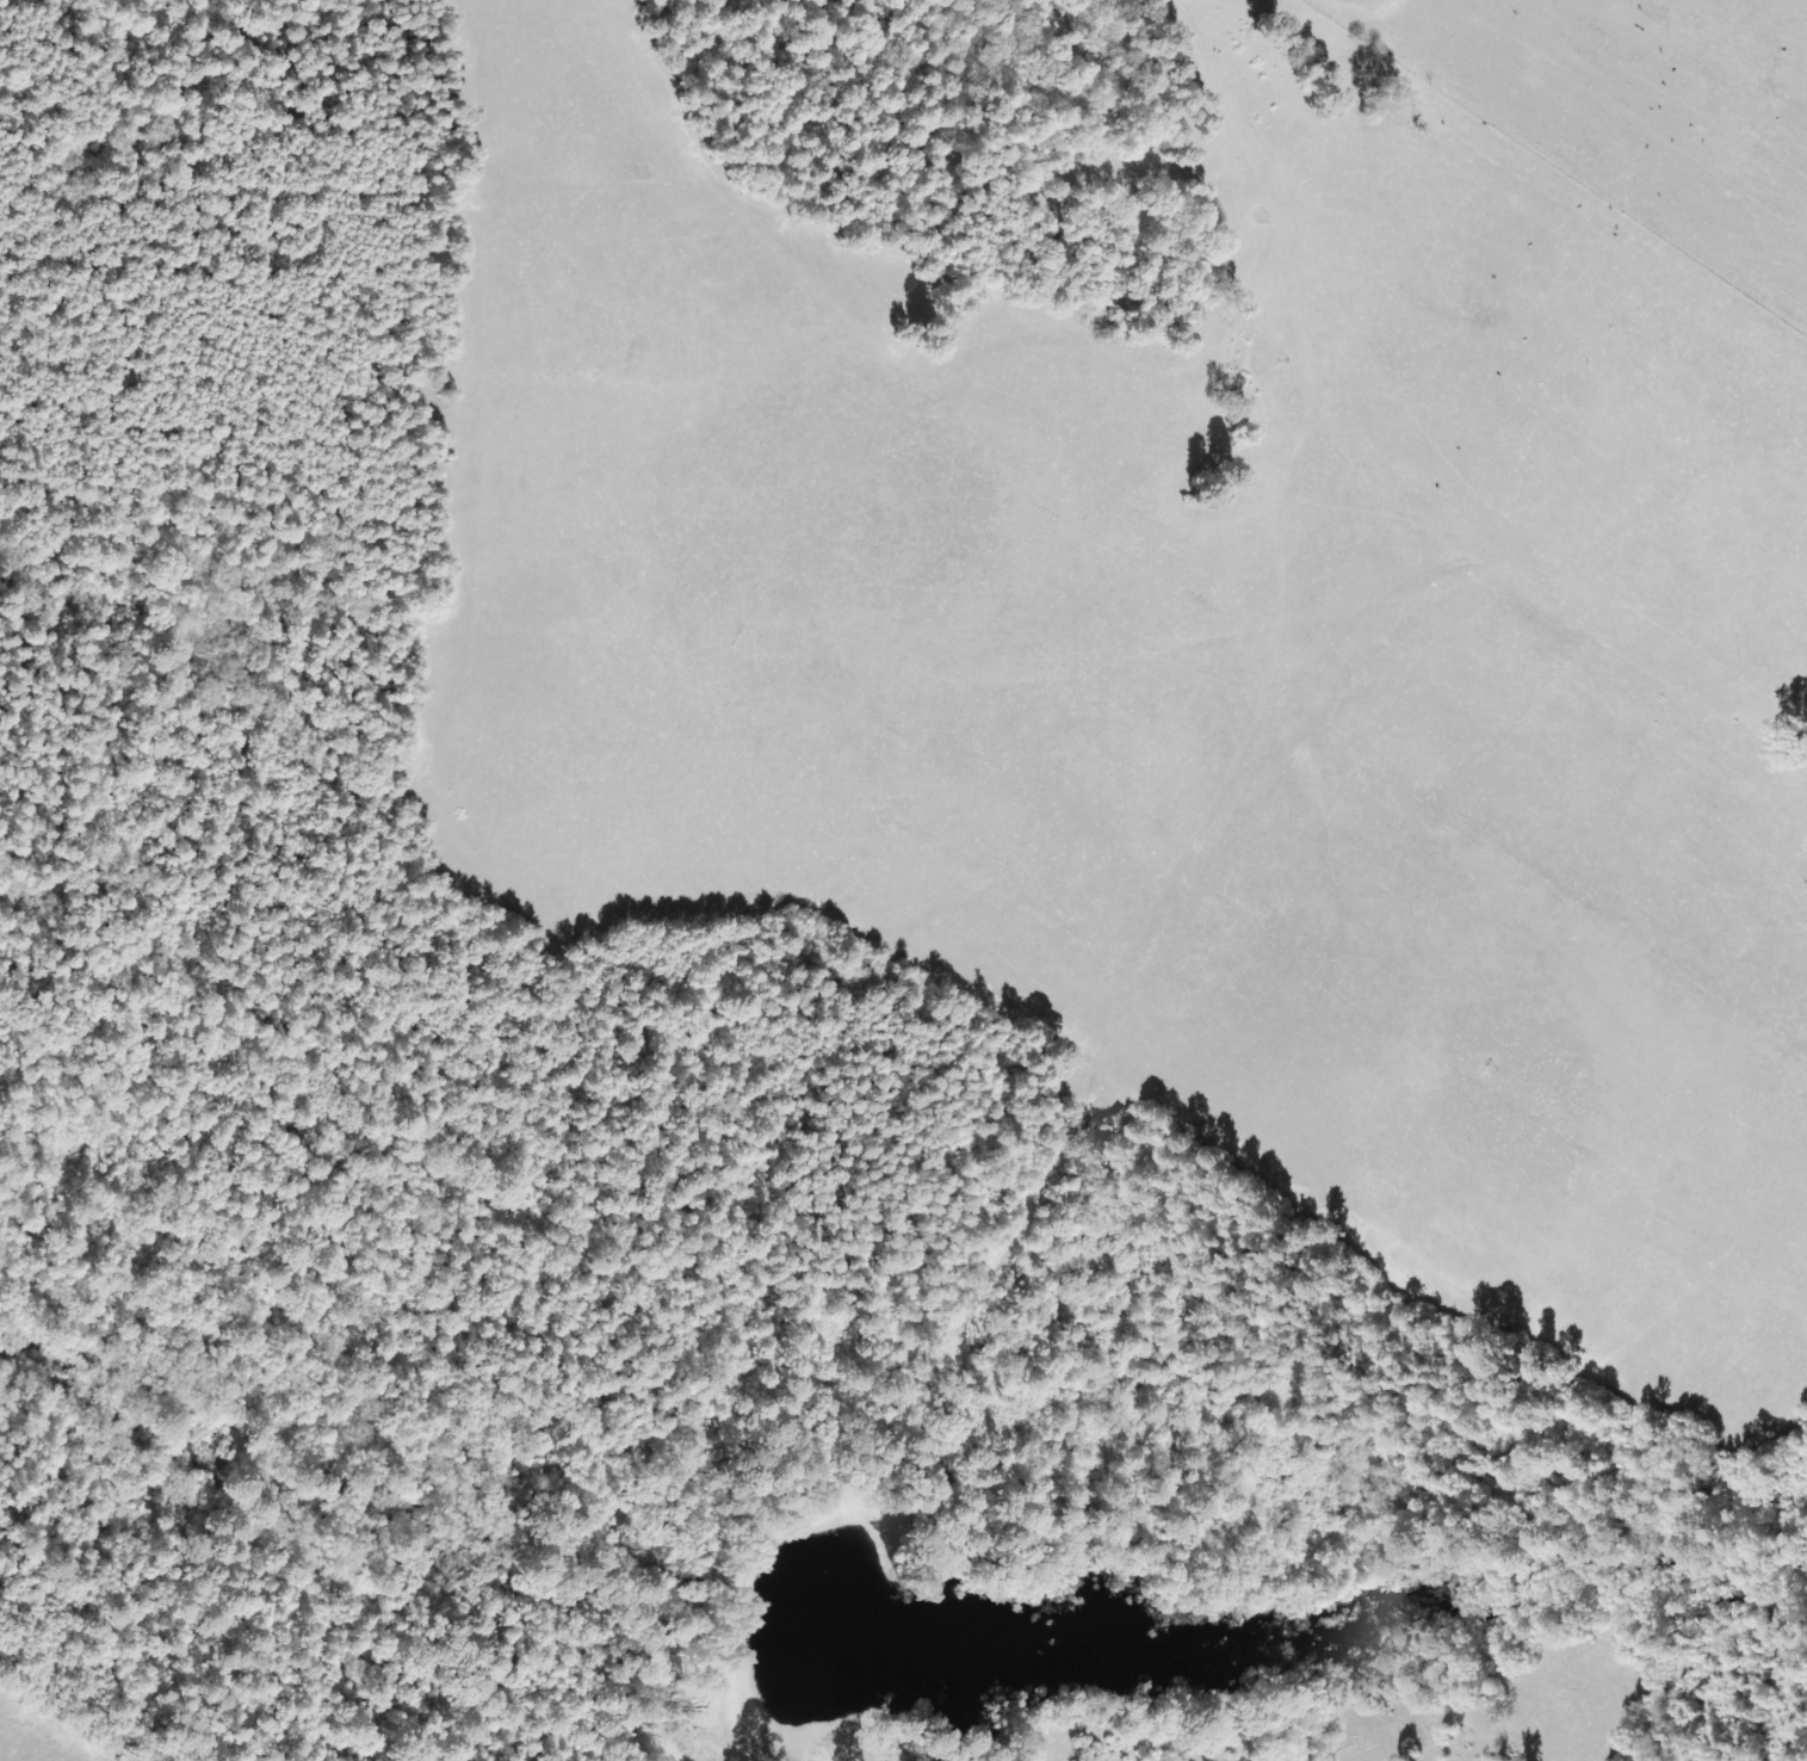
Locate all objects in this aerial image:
road: (639, 261)

